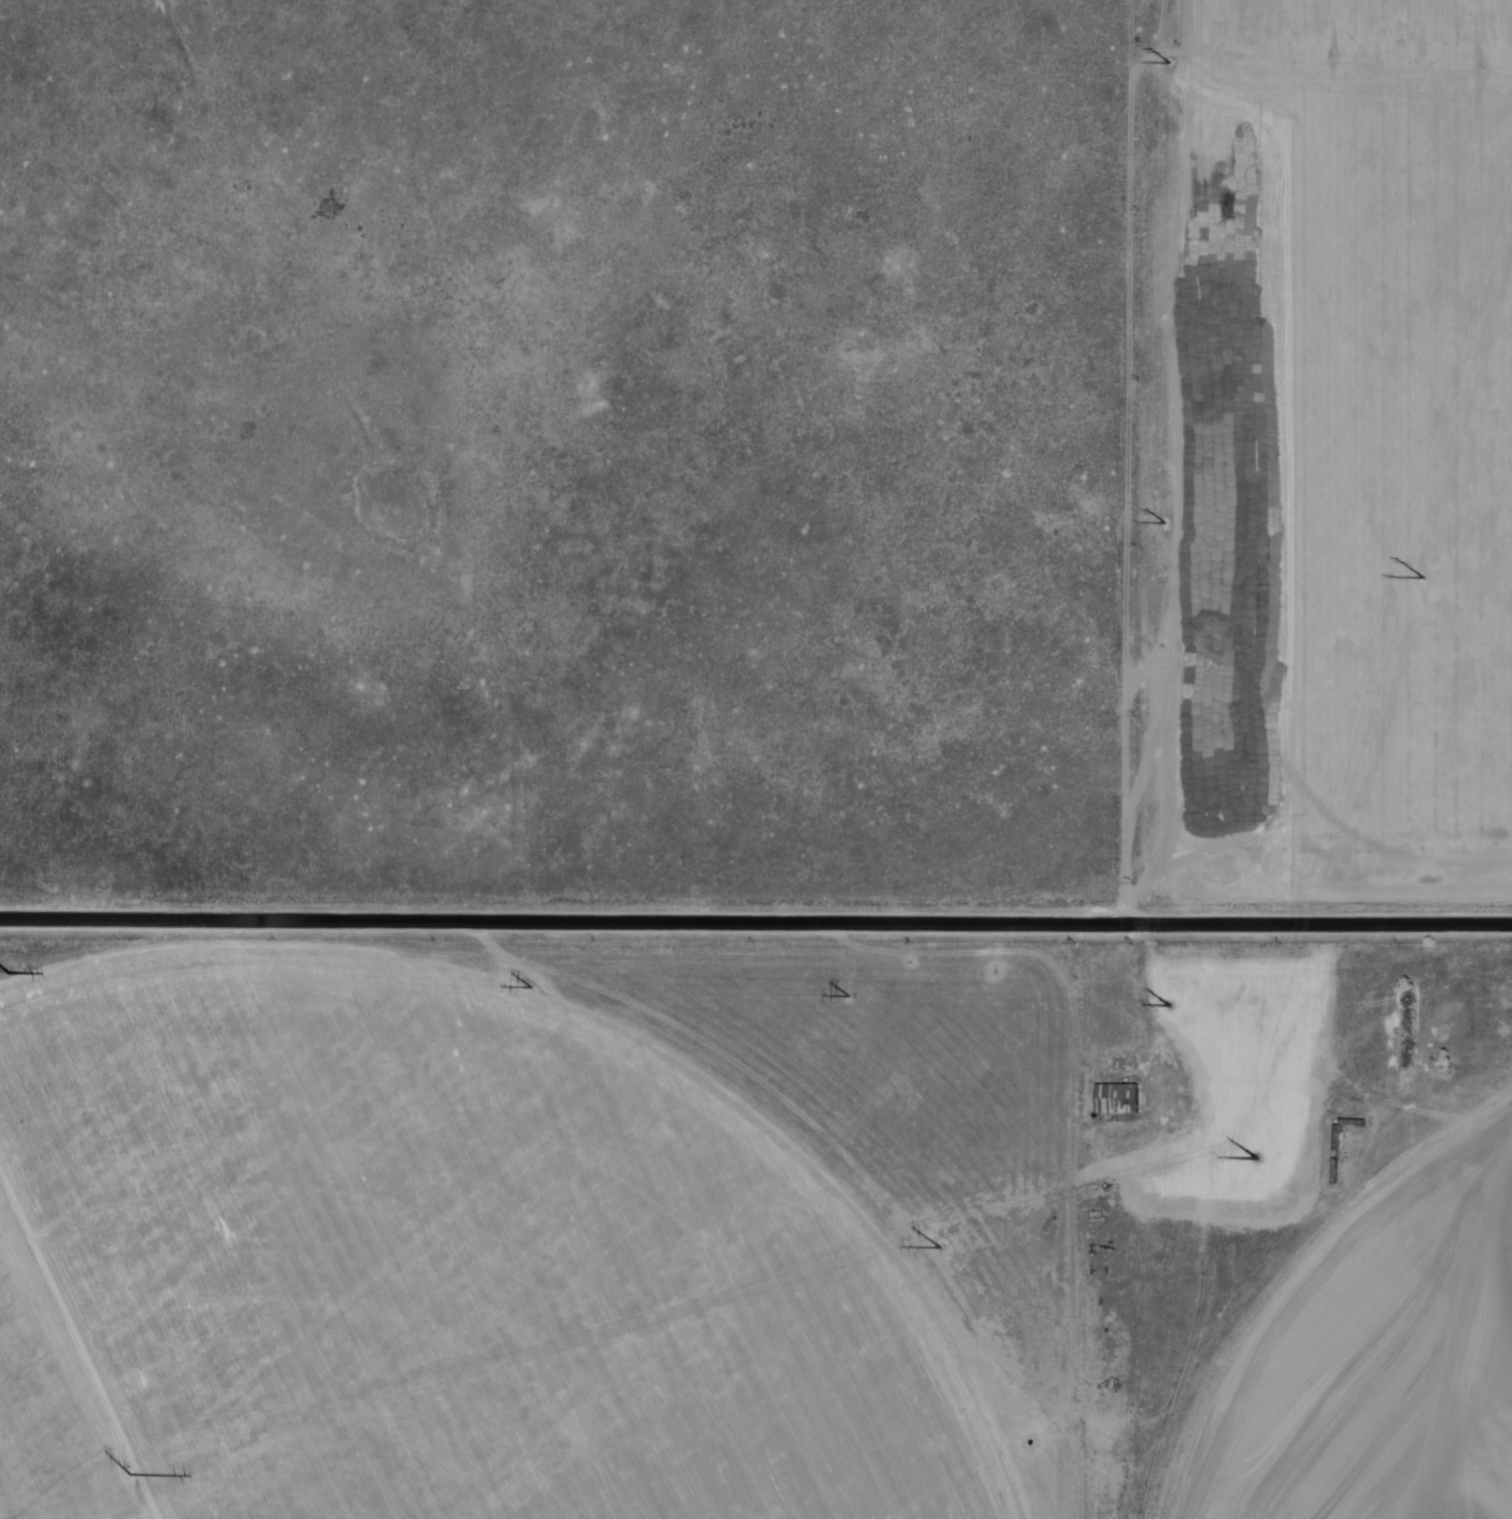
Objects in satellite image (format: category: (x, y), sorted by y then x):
power tower: (1421, 580)
road: (756, 920)
road: (1154, 1002)
building: (1113, 1100)
power tower: (1255, 1161)
power tower: (941, 1249)
power tower: (130, 1477)

